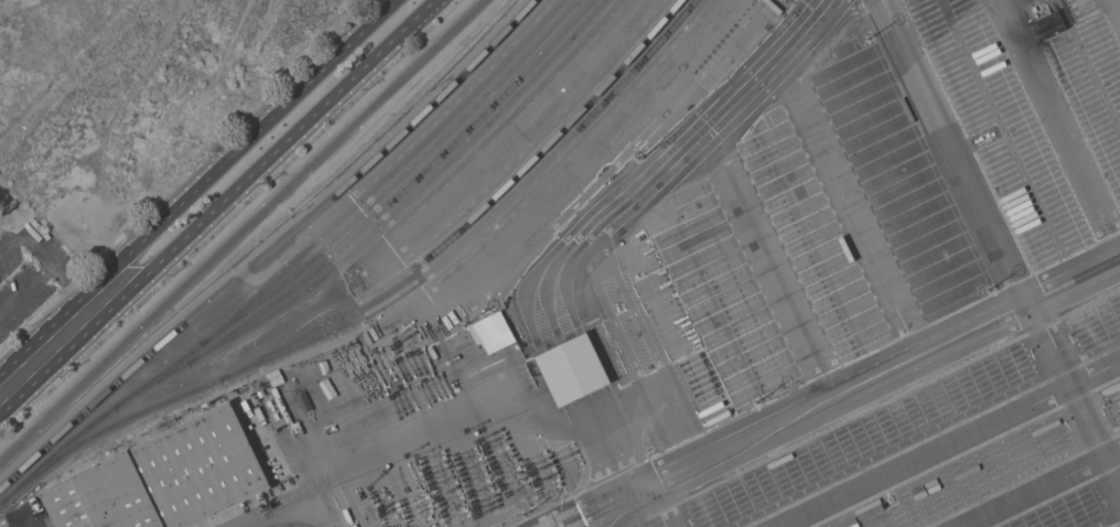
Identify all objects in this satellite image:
road: (957, 151)
road: (252, 153)
railway: (388, 178)
railway: (402, 194)
railway: (474, 218)
road: (233, 222)
railway: (241, 229)
railway: (379, 229)
road: (25, 238)
railway: (273, 251)
railway: (303, 269)
road: (71, 286)
road: (25, 289)
railway: (387, 303)
building: (493, 331)
road: (45, 351)
building: (573, 370)
road: (885, 373)
road: (7, 377)
building: (261, 392)
road: (1075, 397)
road: (944, 442)
building: (165, 477)
road: (1031, 483)
road: (596, 502)
road: (660, 506)
road: (638, 510)

